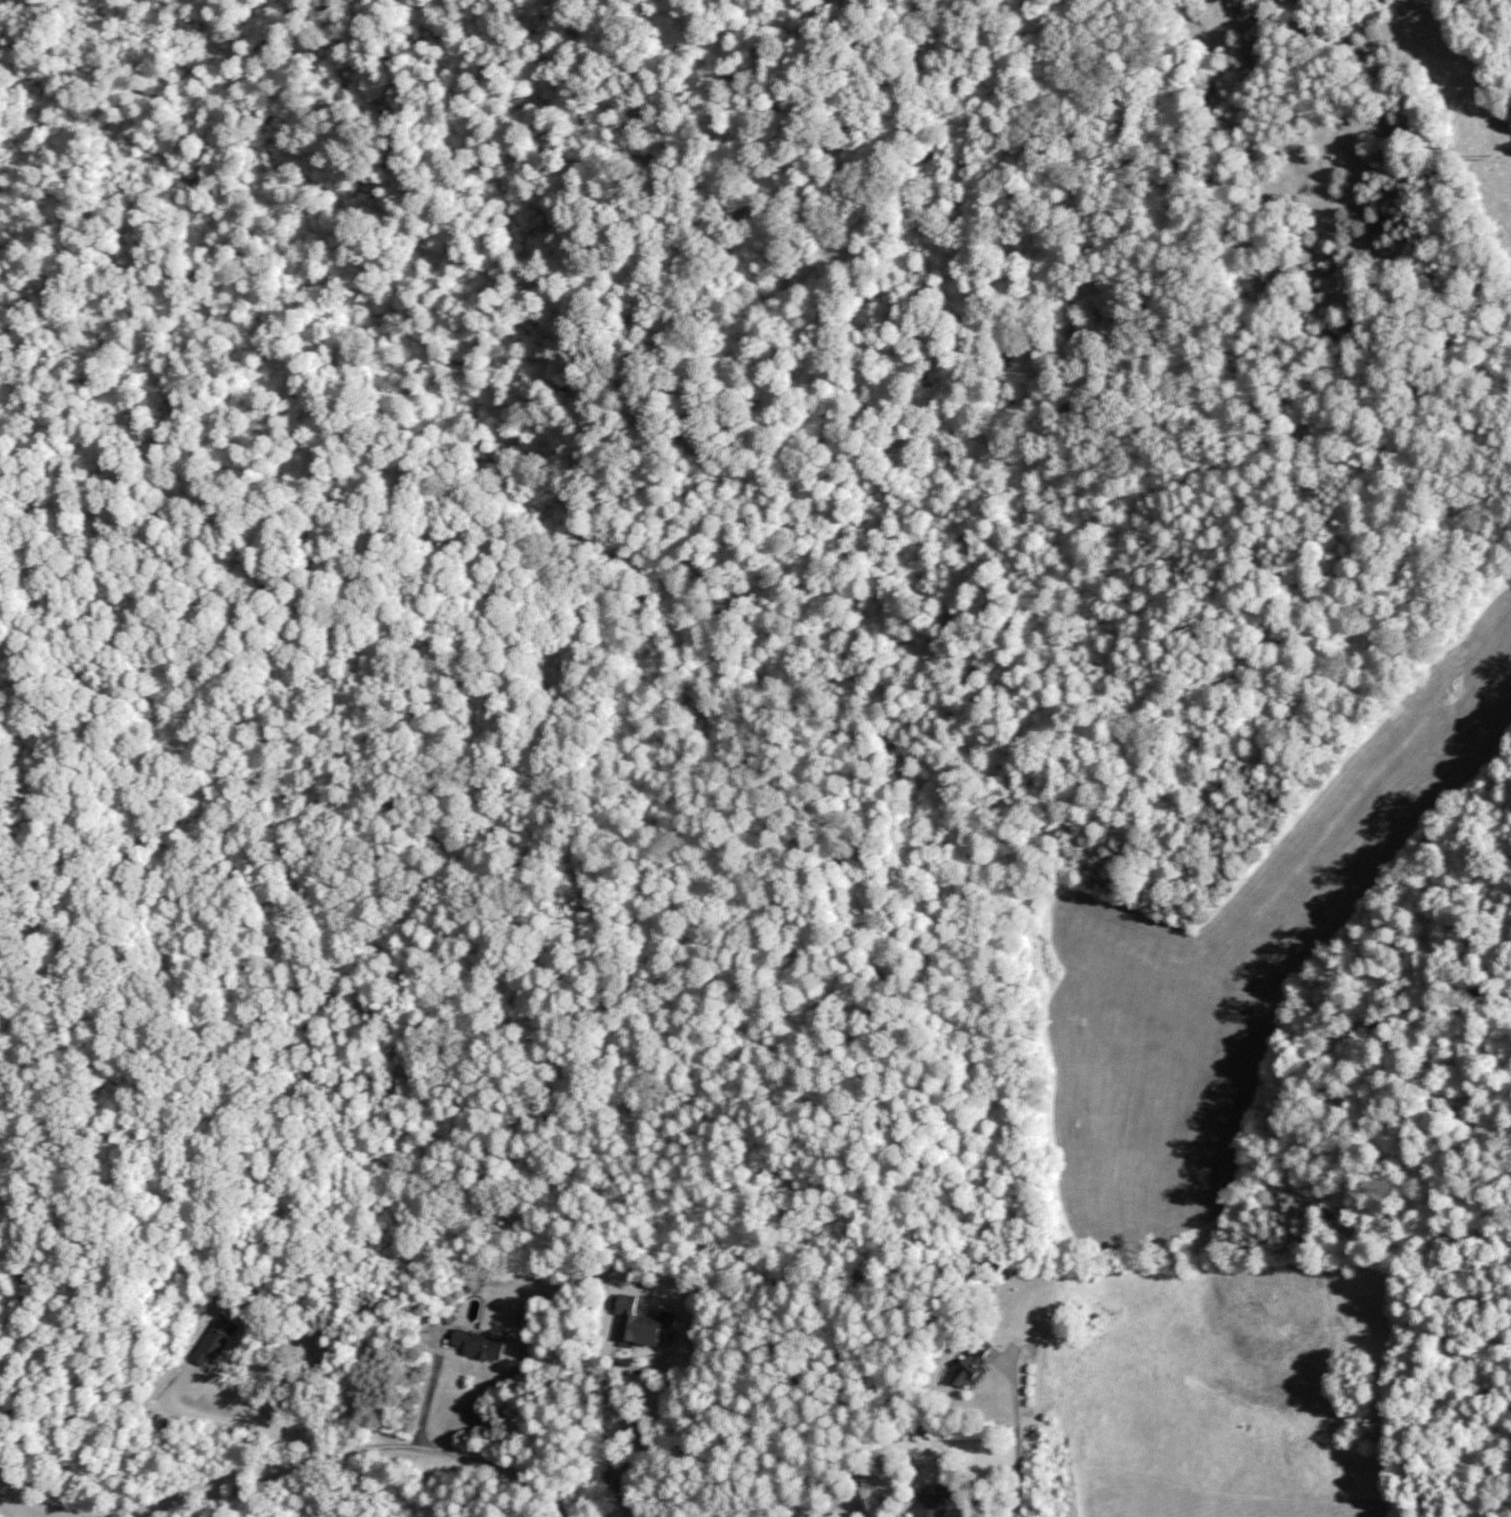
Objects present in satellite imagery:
building: (638, 1322)
building: (474, 1343)
building: (967, 1364)
road: (1016, 1440)
road: (317, 1453)
building: (933, 1499)

